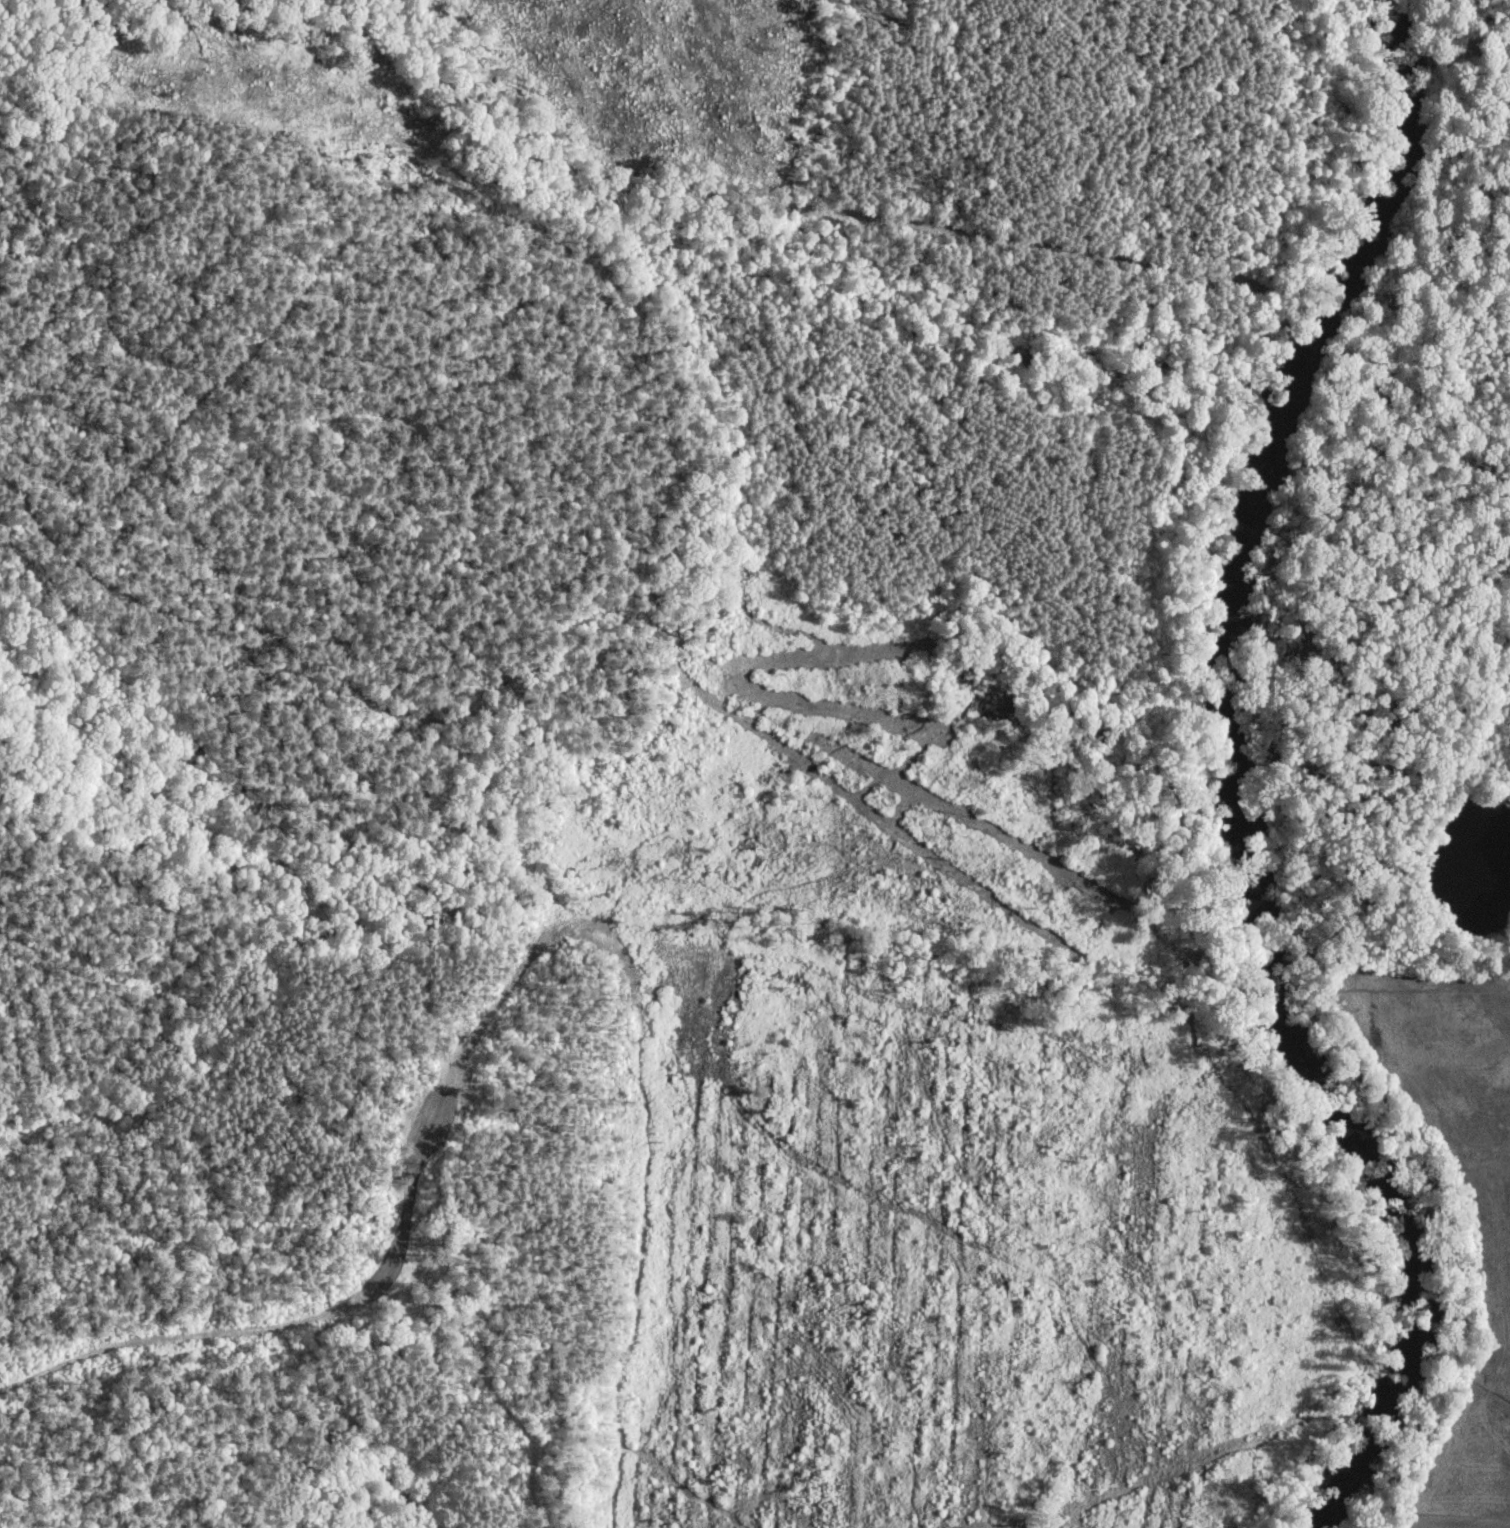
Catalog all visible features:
river: (1194, 775)

